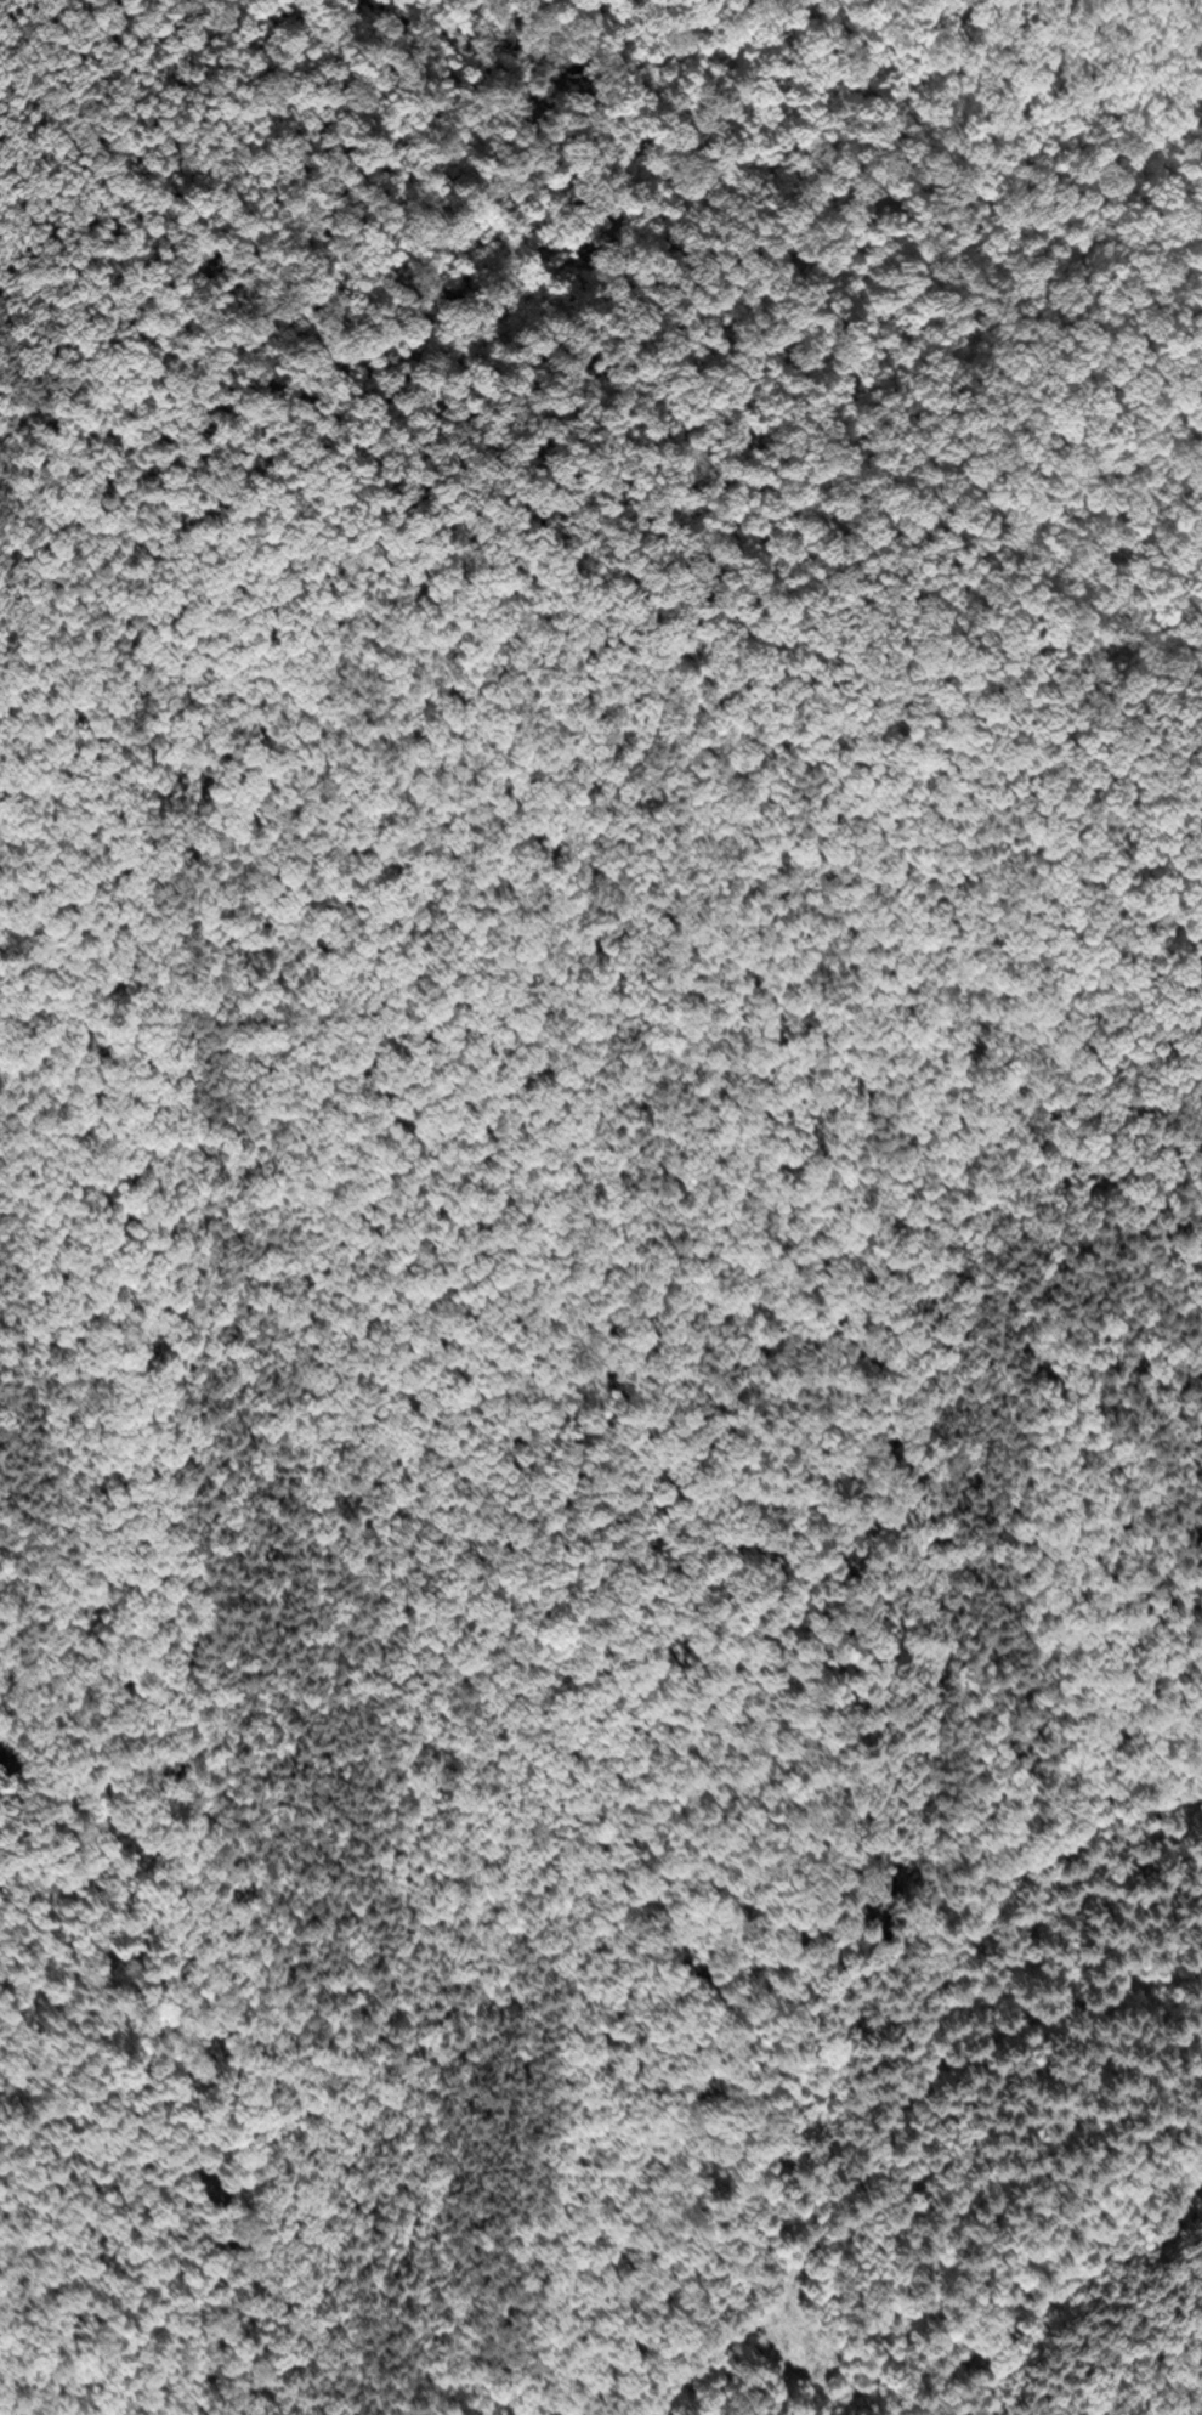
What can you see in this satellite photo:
road: (900, 2127)

